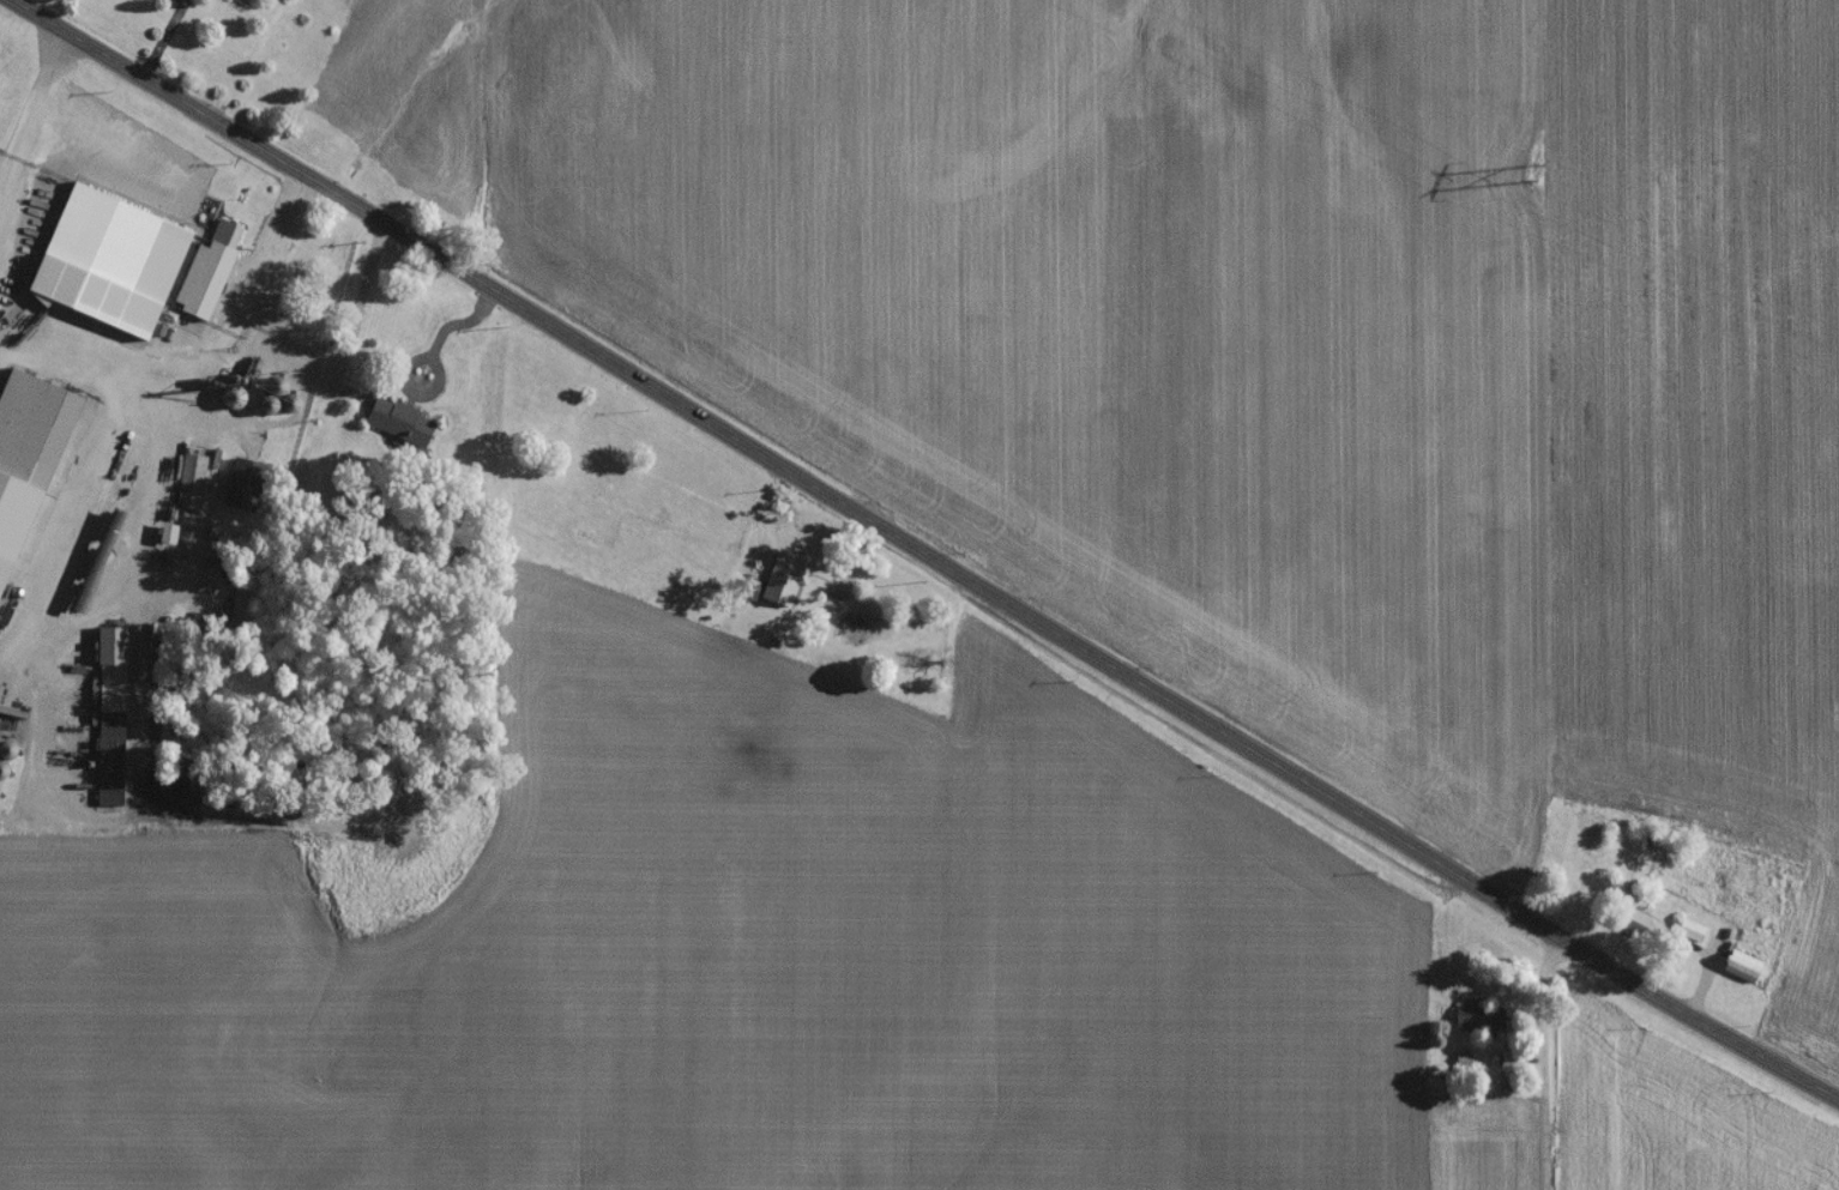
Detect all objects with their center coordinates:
building: (242, 2)
road: (28, 104)
power tower: (1525, 179)
building: (102, 241)
building: (207, 277)
road: (145, 395)
building: (42, 427)
building: (399, 427)
building: (191, 476)
building: (16, 525)
building: (589, 539)
road: (929, 550)
building: (782, 585)
building: (111, 721)
building: (1690, 936)
building: (1742, 972)
building: (1476, 1025)
road: (1542, 1057)

